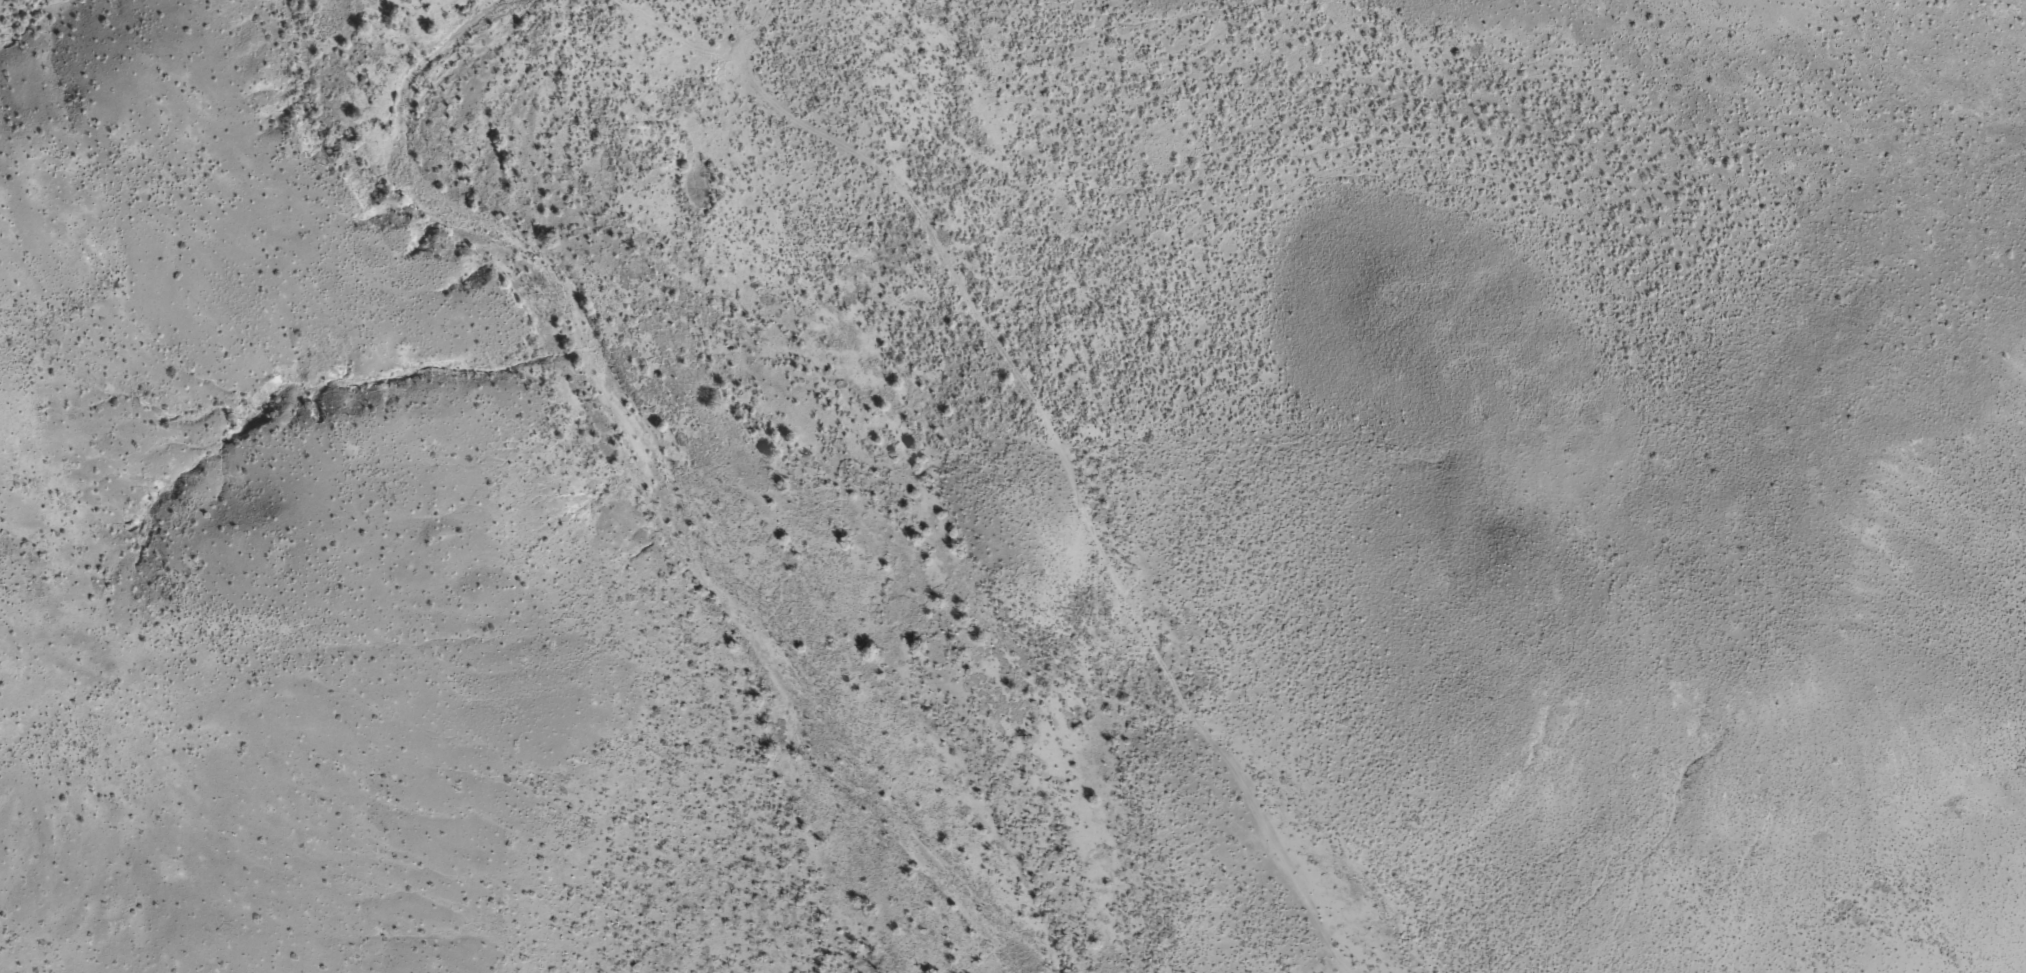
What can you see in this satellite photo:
road: (1066, 462)

